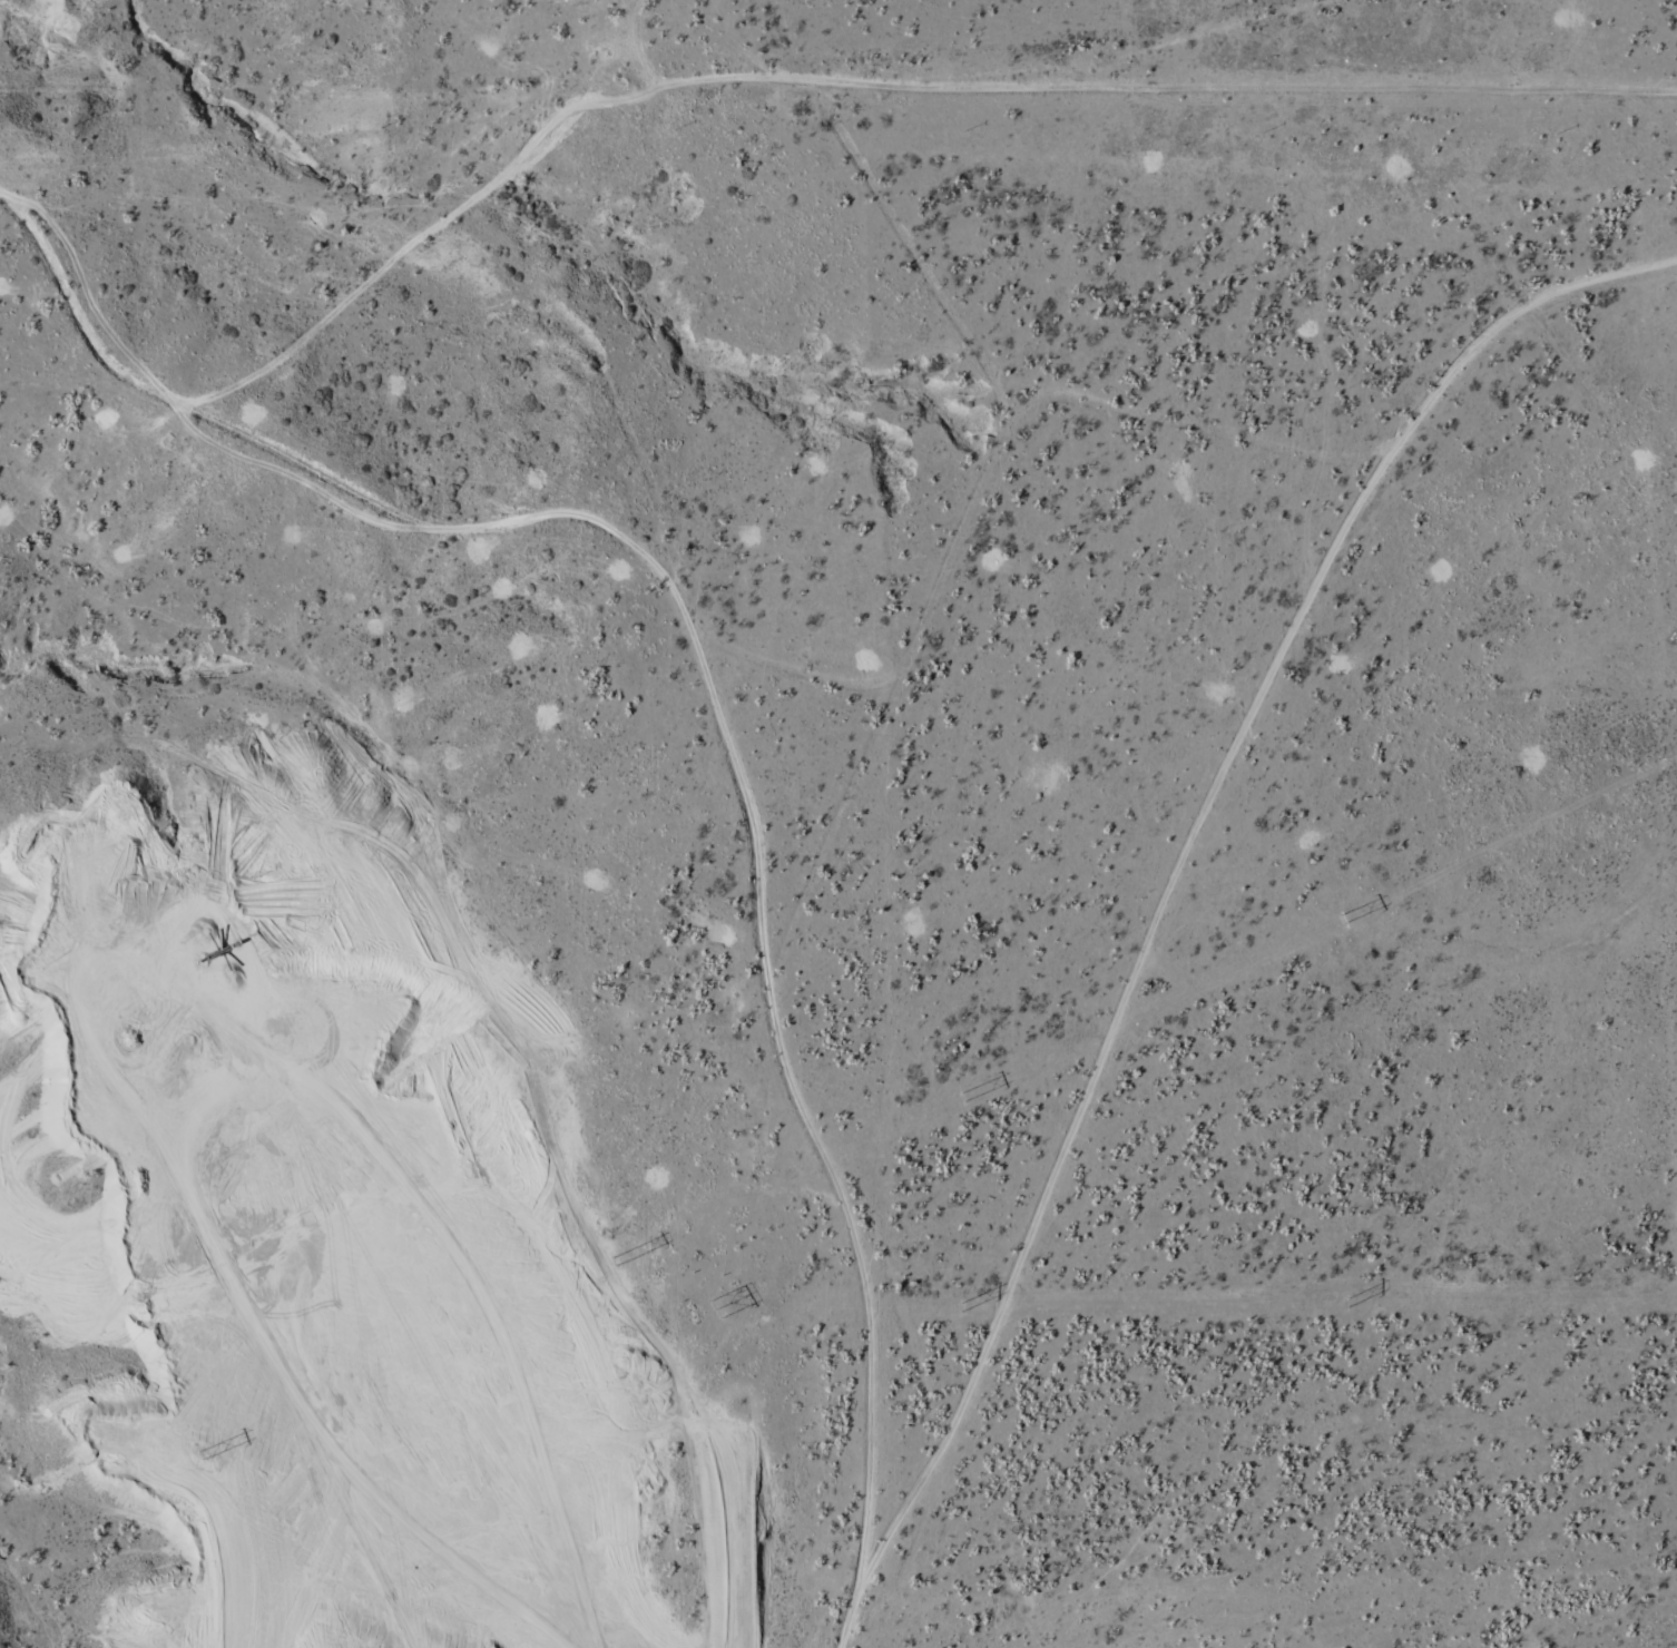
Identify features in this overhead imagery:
power tower: (1341, 919)
power tower: (962, 1097)
power tower: (615, 1263)
power tower: (1344, 1302)
power tower: (961, 1307)
power tower: (715, 1308)
power tower: (205, 1453)

